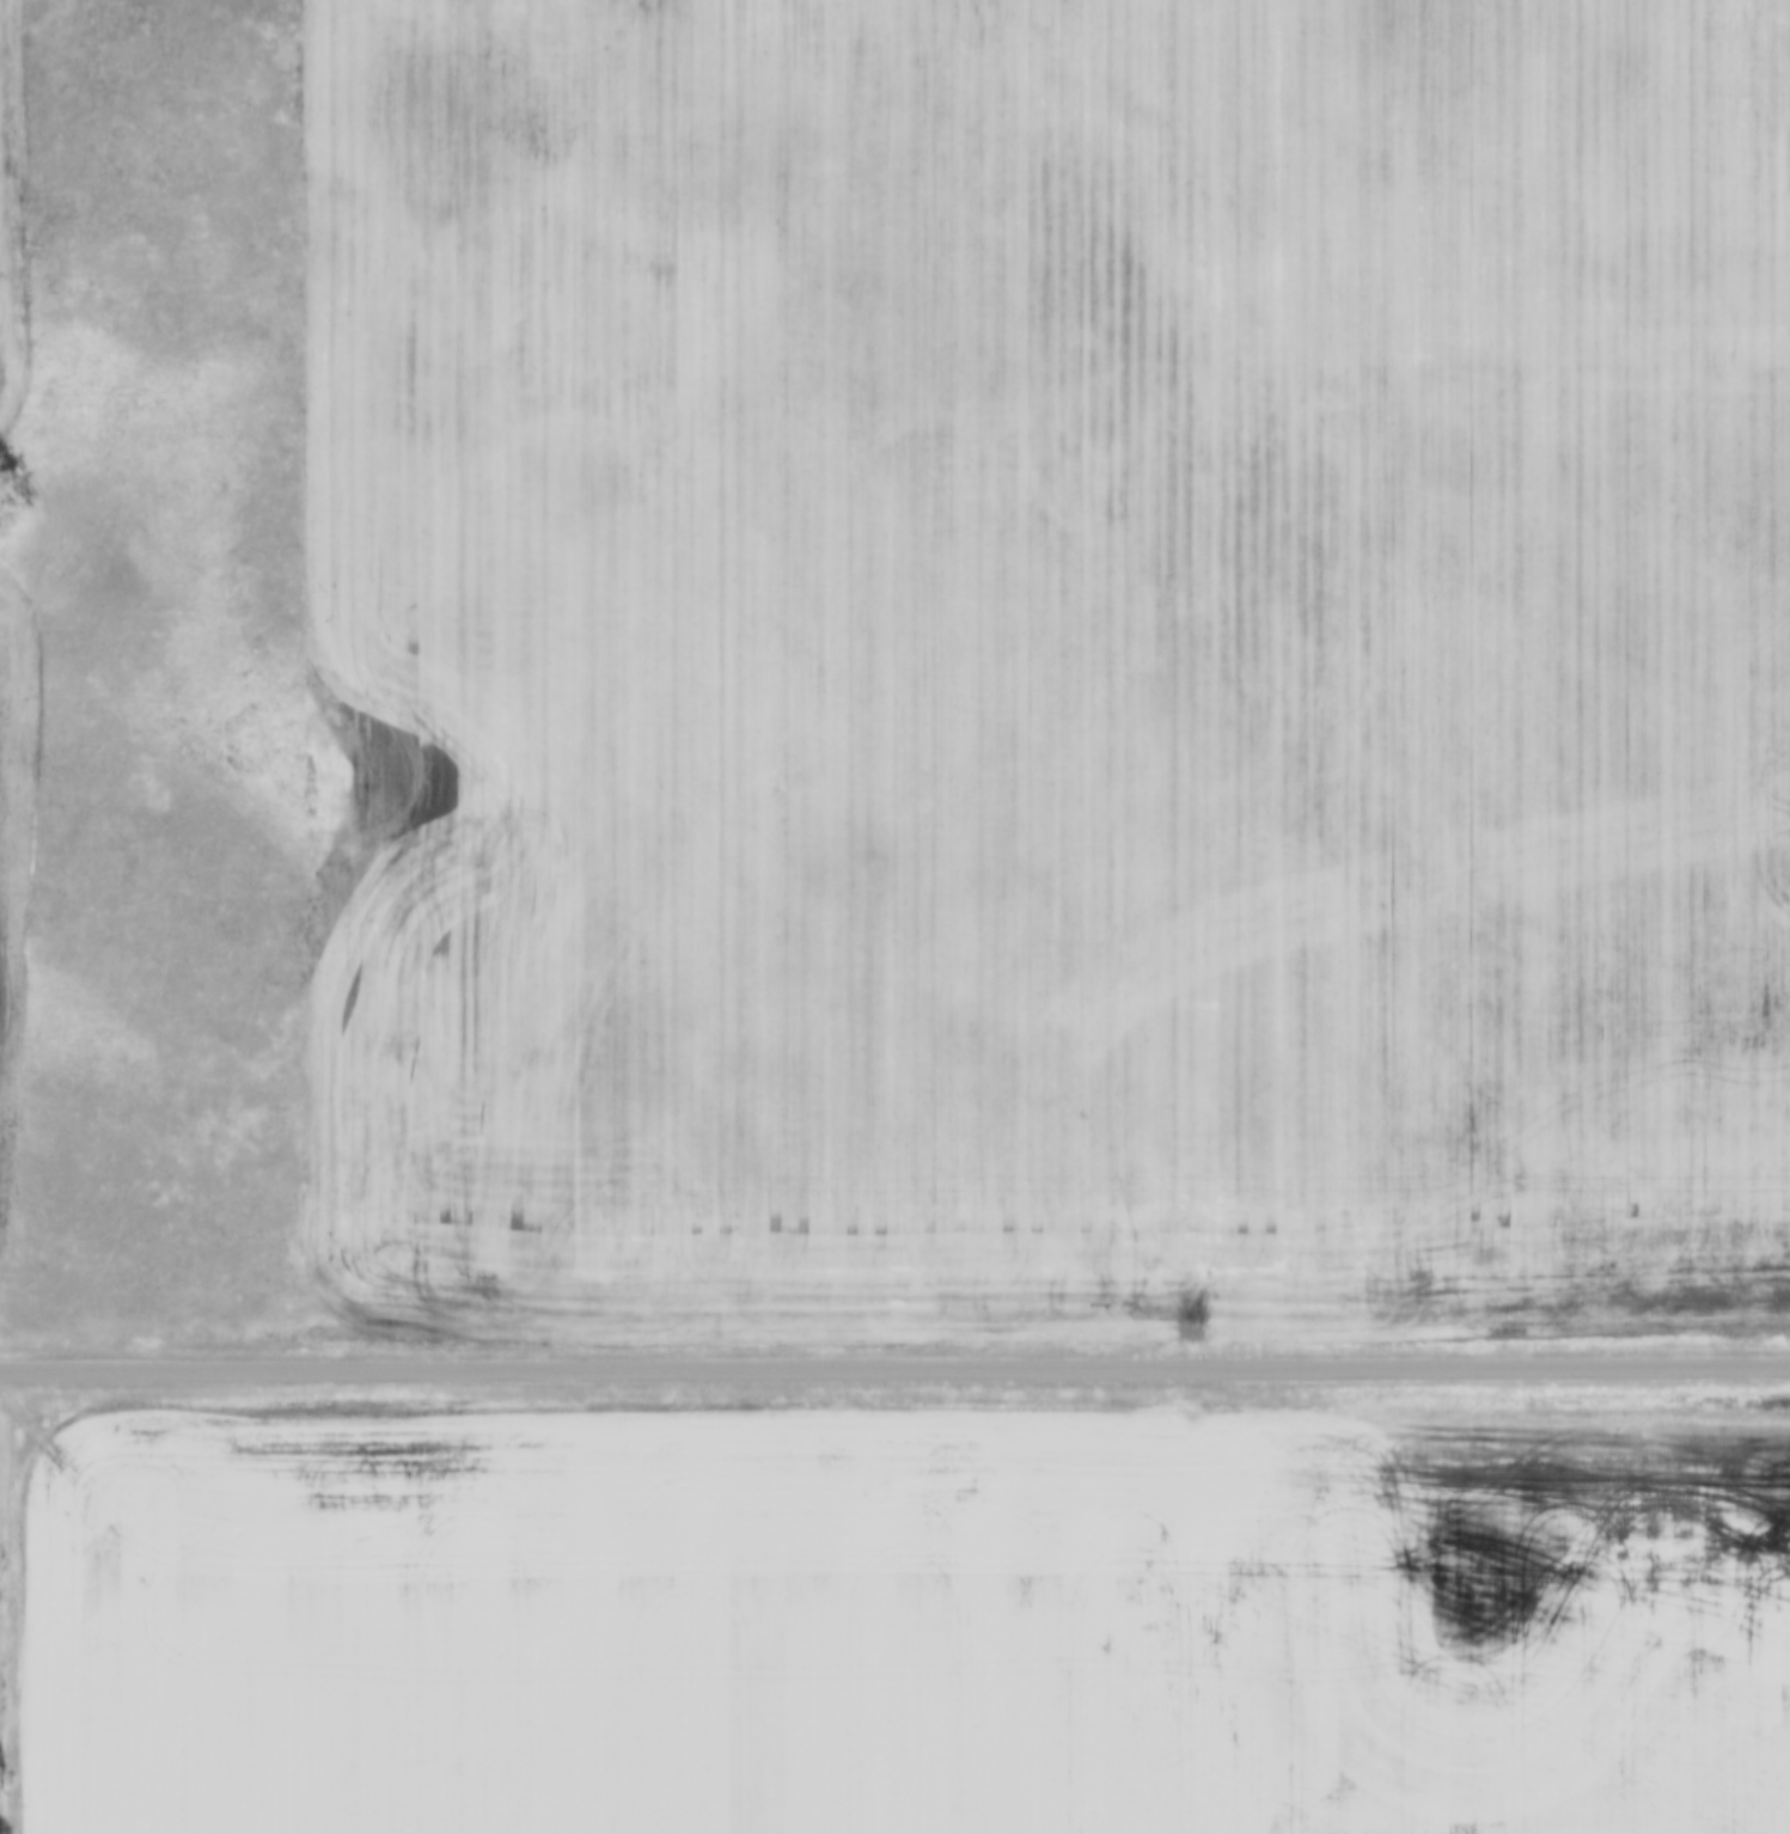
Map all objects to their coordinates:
road: (894, 1362)

